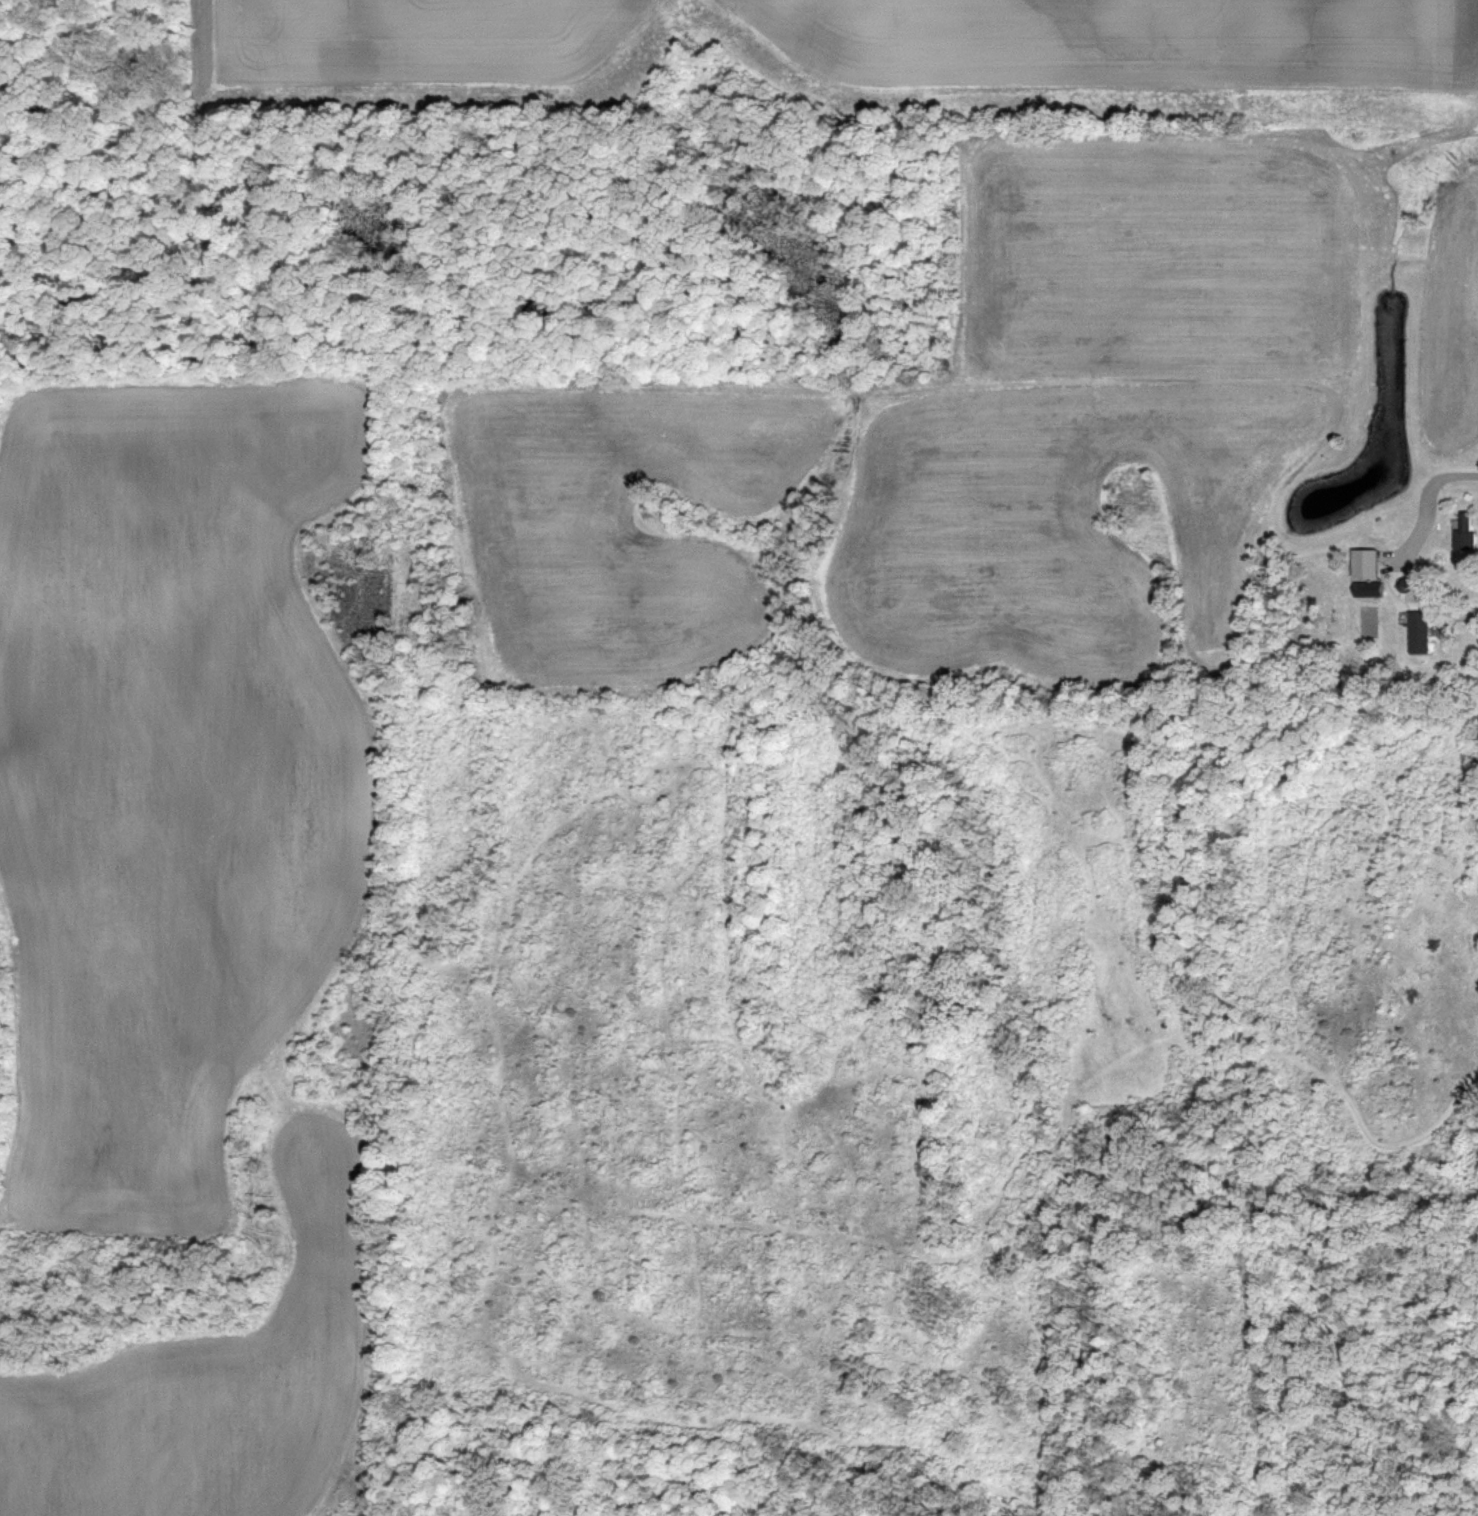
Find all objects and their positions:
building: (1463, 529)
building: (1364, 562)
building: (1367, 588)
building: (1418, 632)

